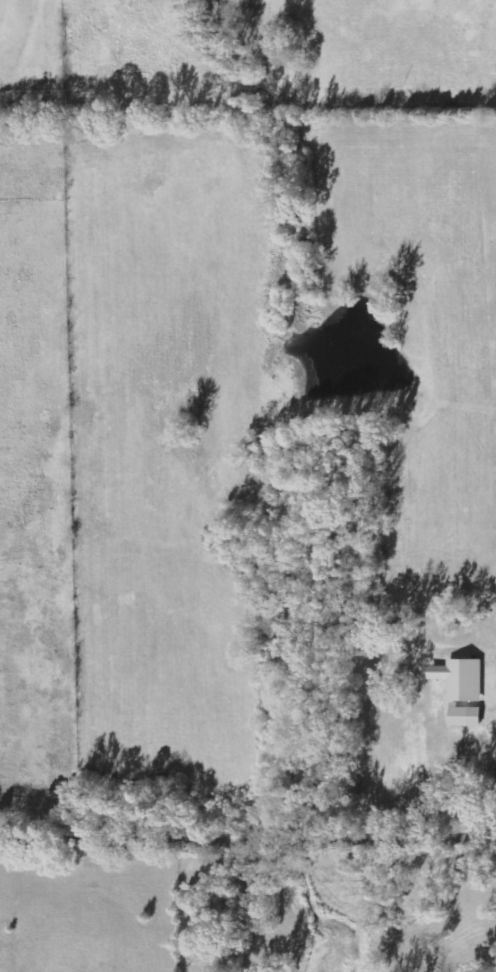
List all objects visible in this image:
building: (464, 689)
road: (490, 712)
road: (247, 833)

